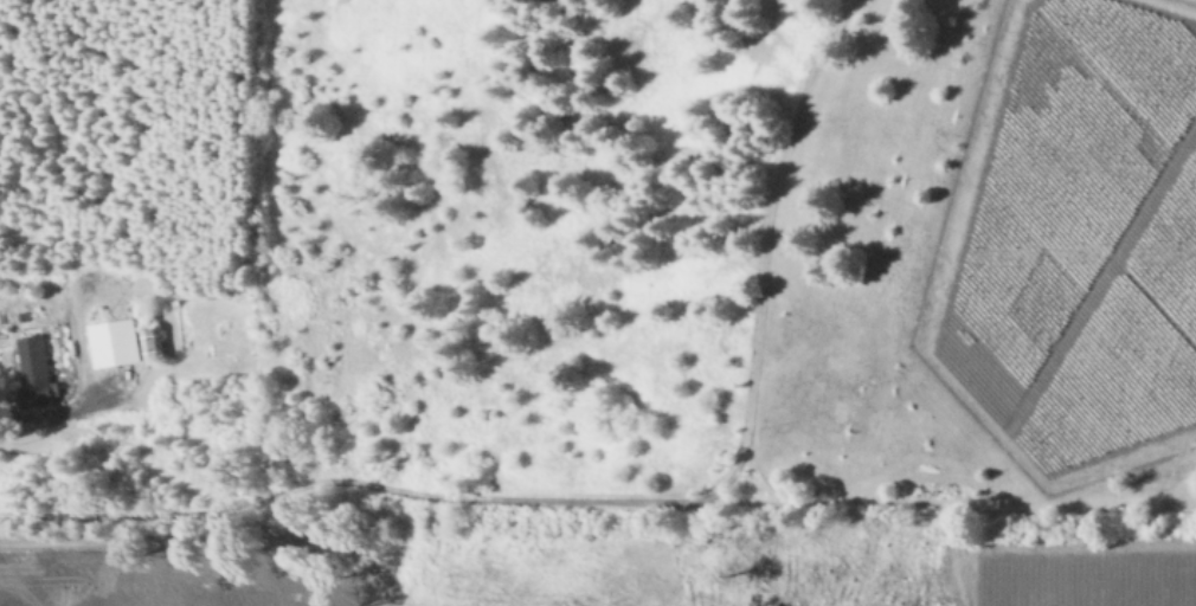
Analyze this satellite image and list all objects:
building: (118, 342)
building: (153, 343)
building: (38, 370)
road: (14, 424)
road: (332, 481)
road: (202, 540)

